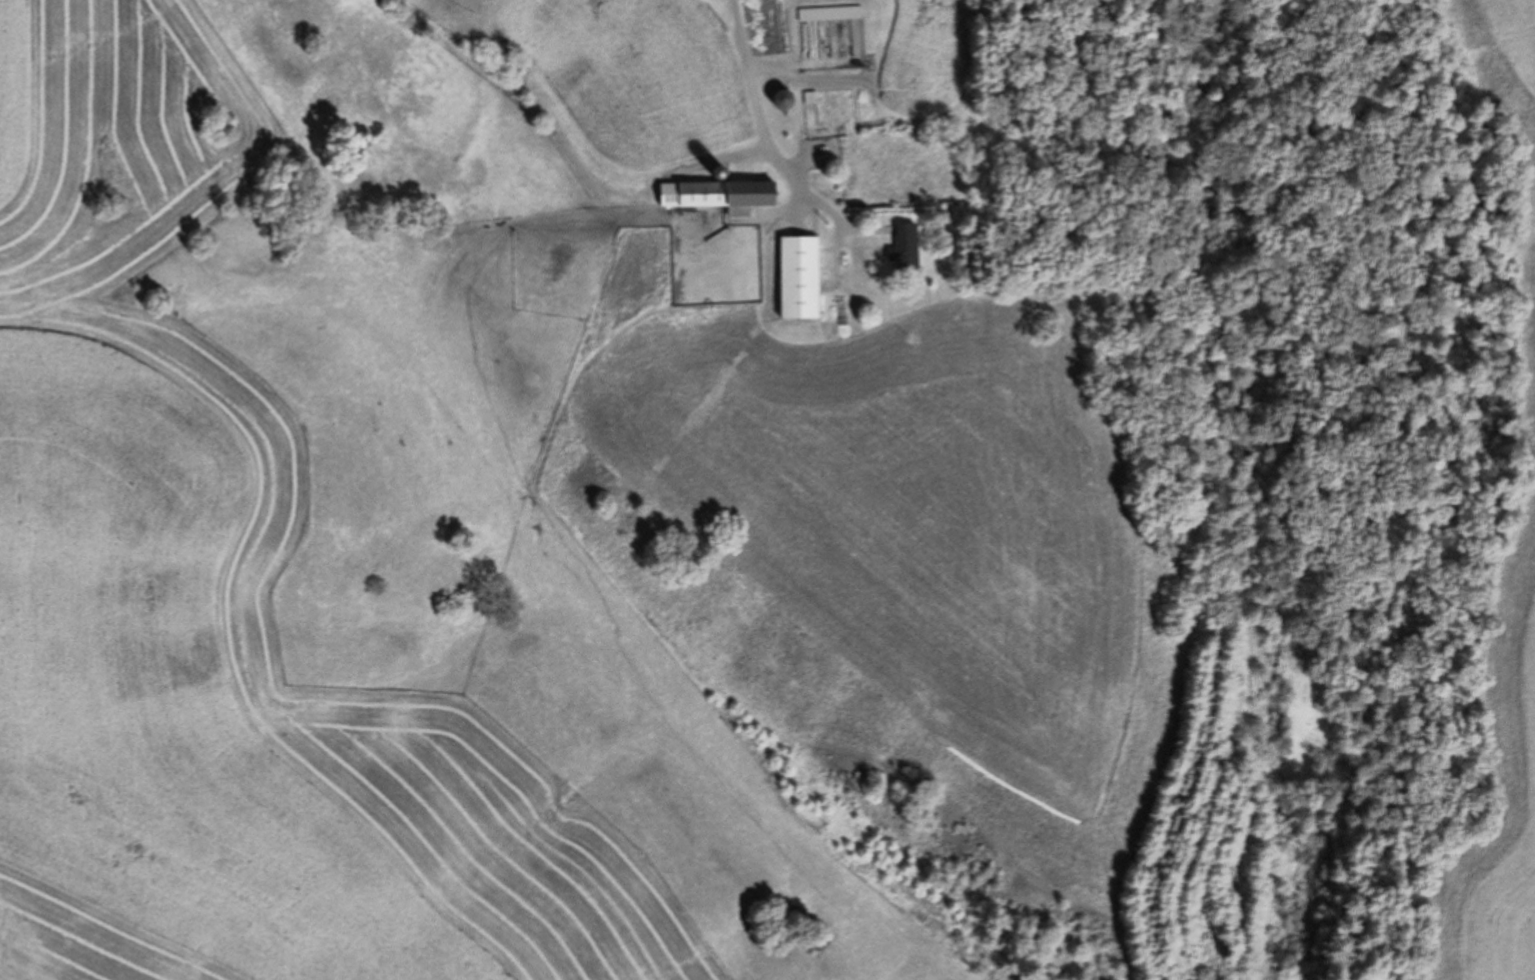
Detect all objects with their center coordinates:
building: (831, 14)
road: (741, 73)
building: (783, 100)
building: (718, 196)
building: (906, 247)
building: (799, 278)

